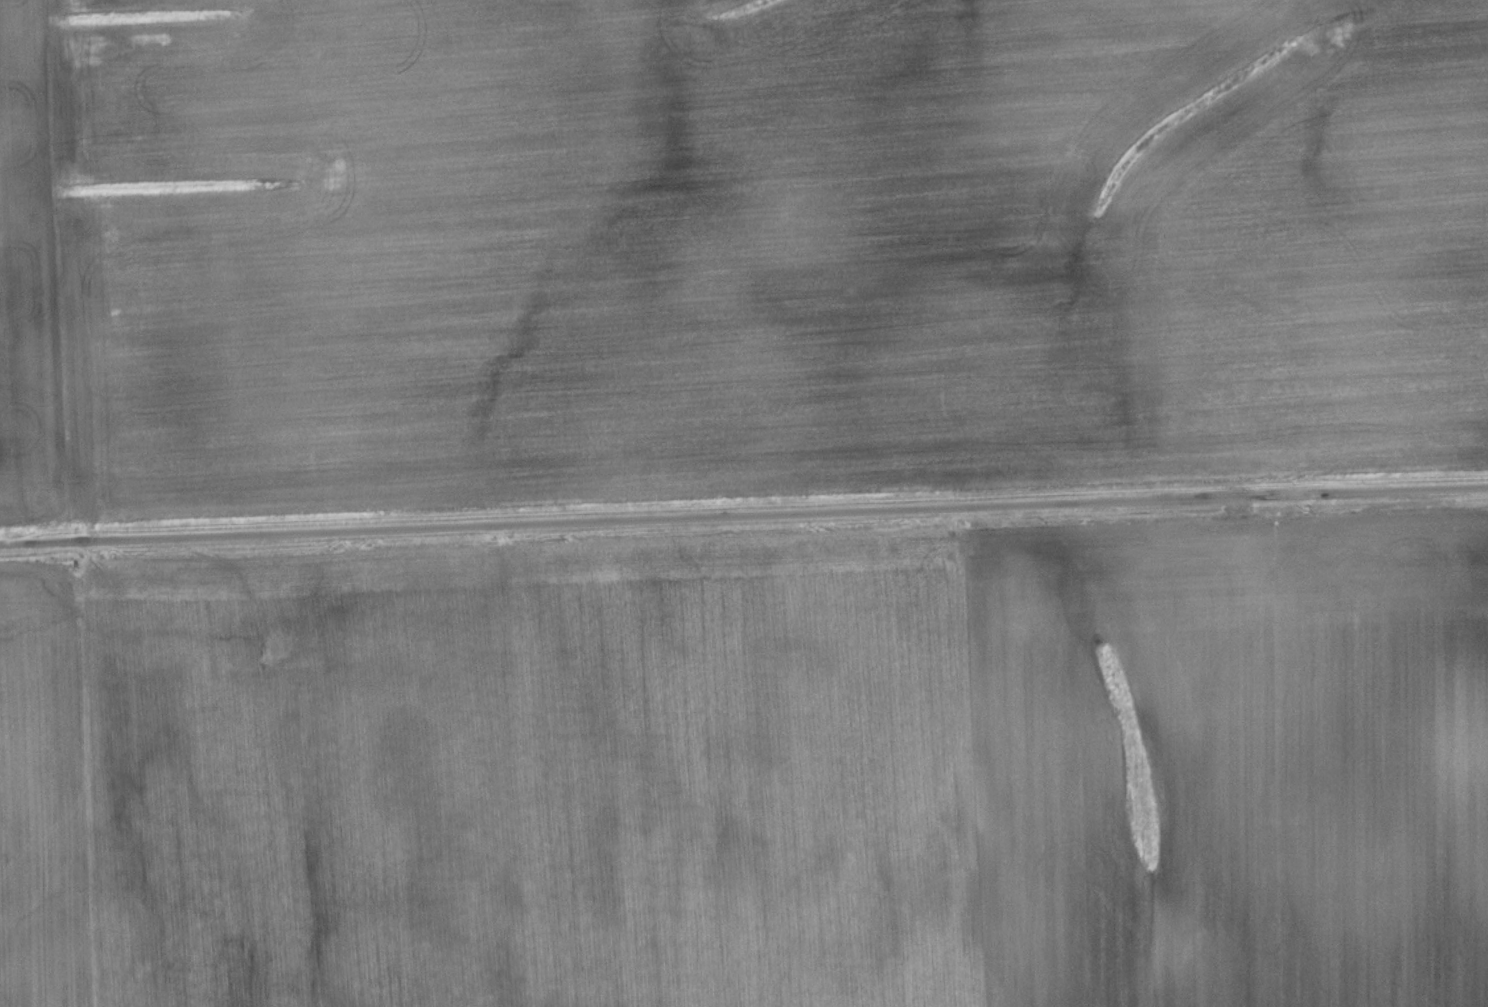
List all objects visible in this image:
road: (744, 514)
road: (263, 770)

